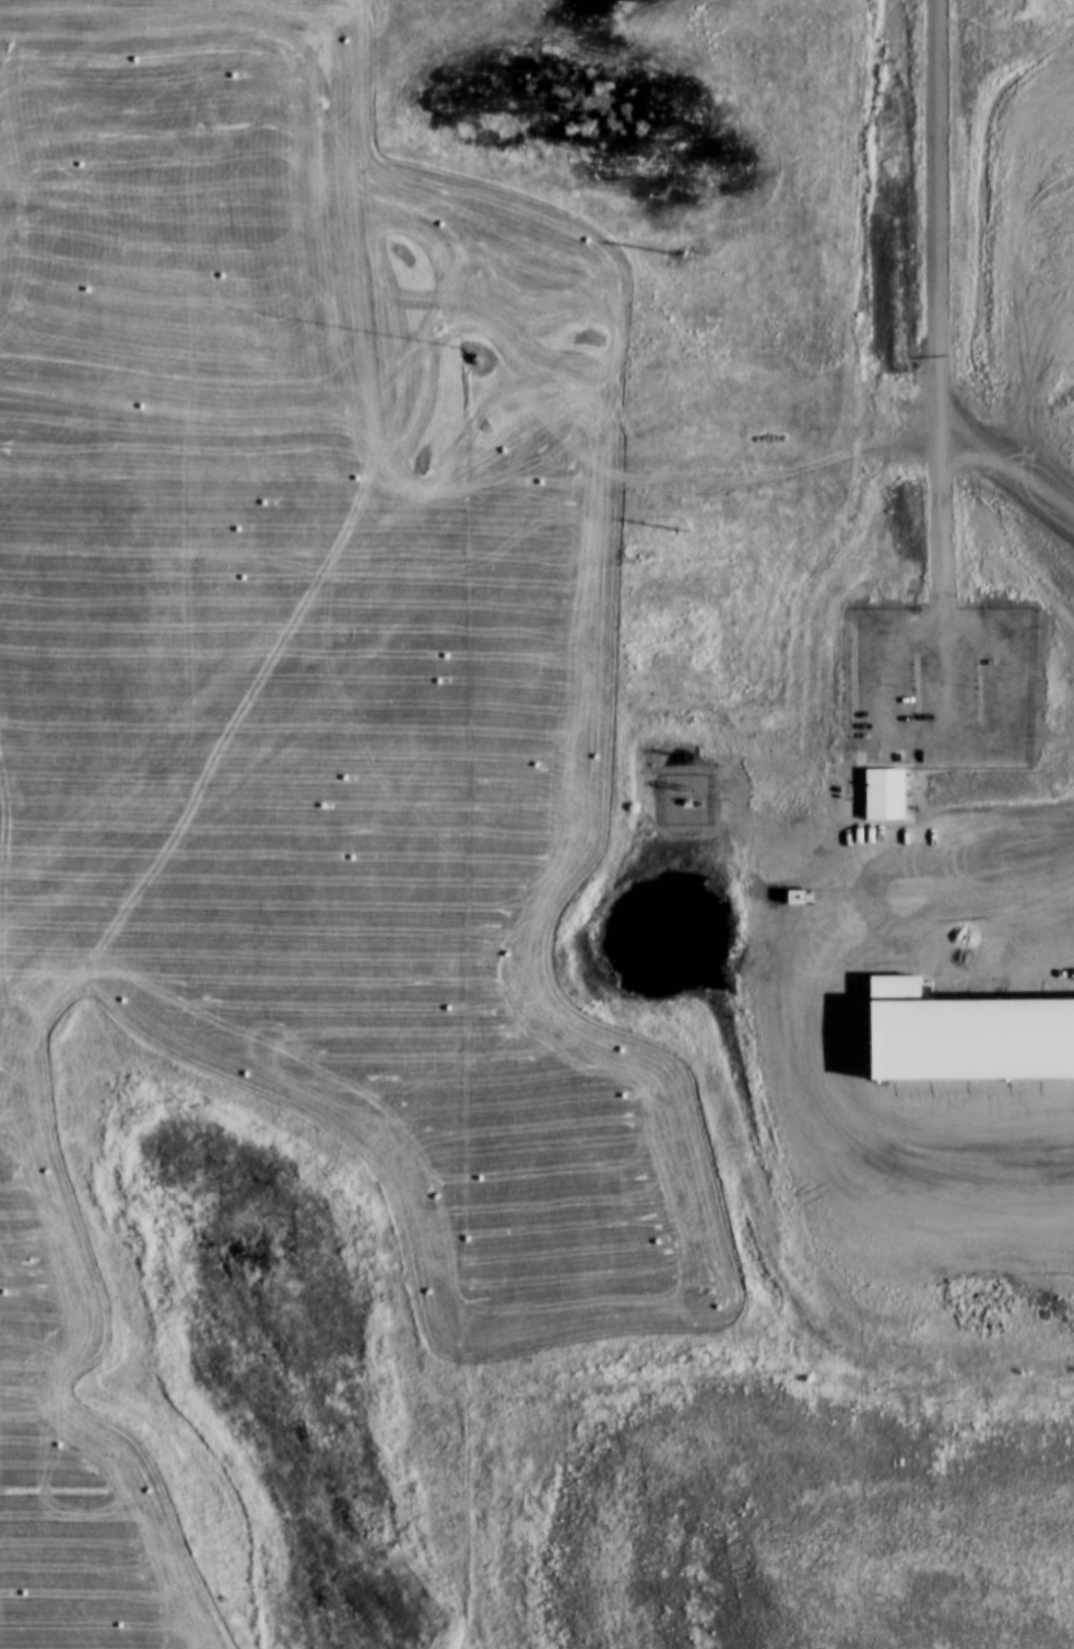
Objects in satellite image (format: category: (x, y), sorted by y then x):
building: (946, 103)
road: (937, 369)
building: (887, 794)
power substation: (689, 800)
quarry: (536, 824)
building: (968, 1034)

